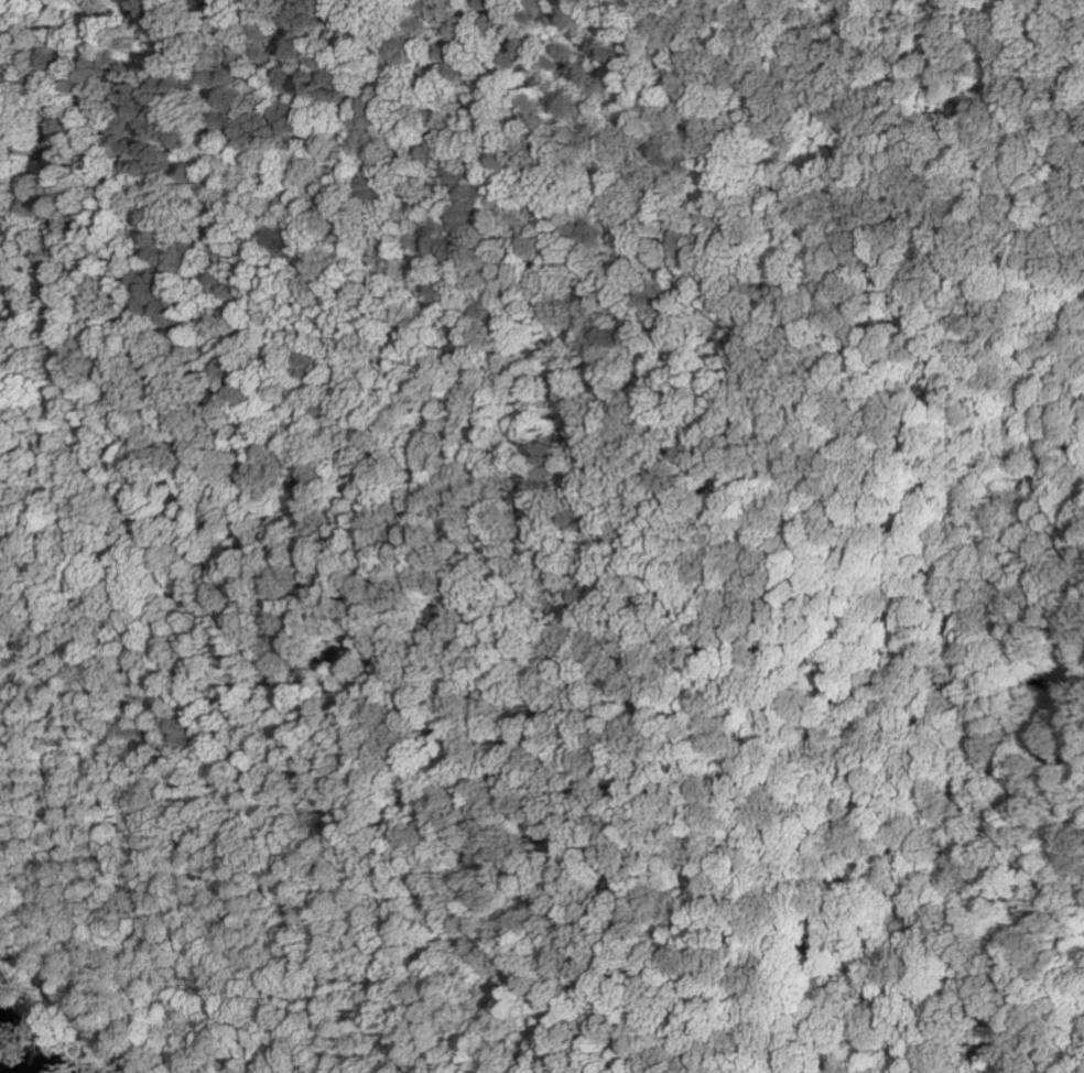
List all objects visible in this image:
river: (1, 1071)

